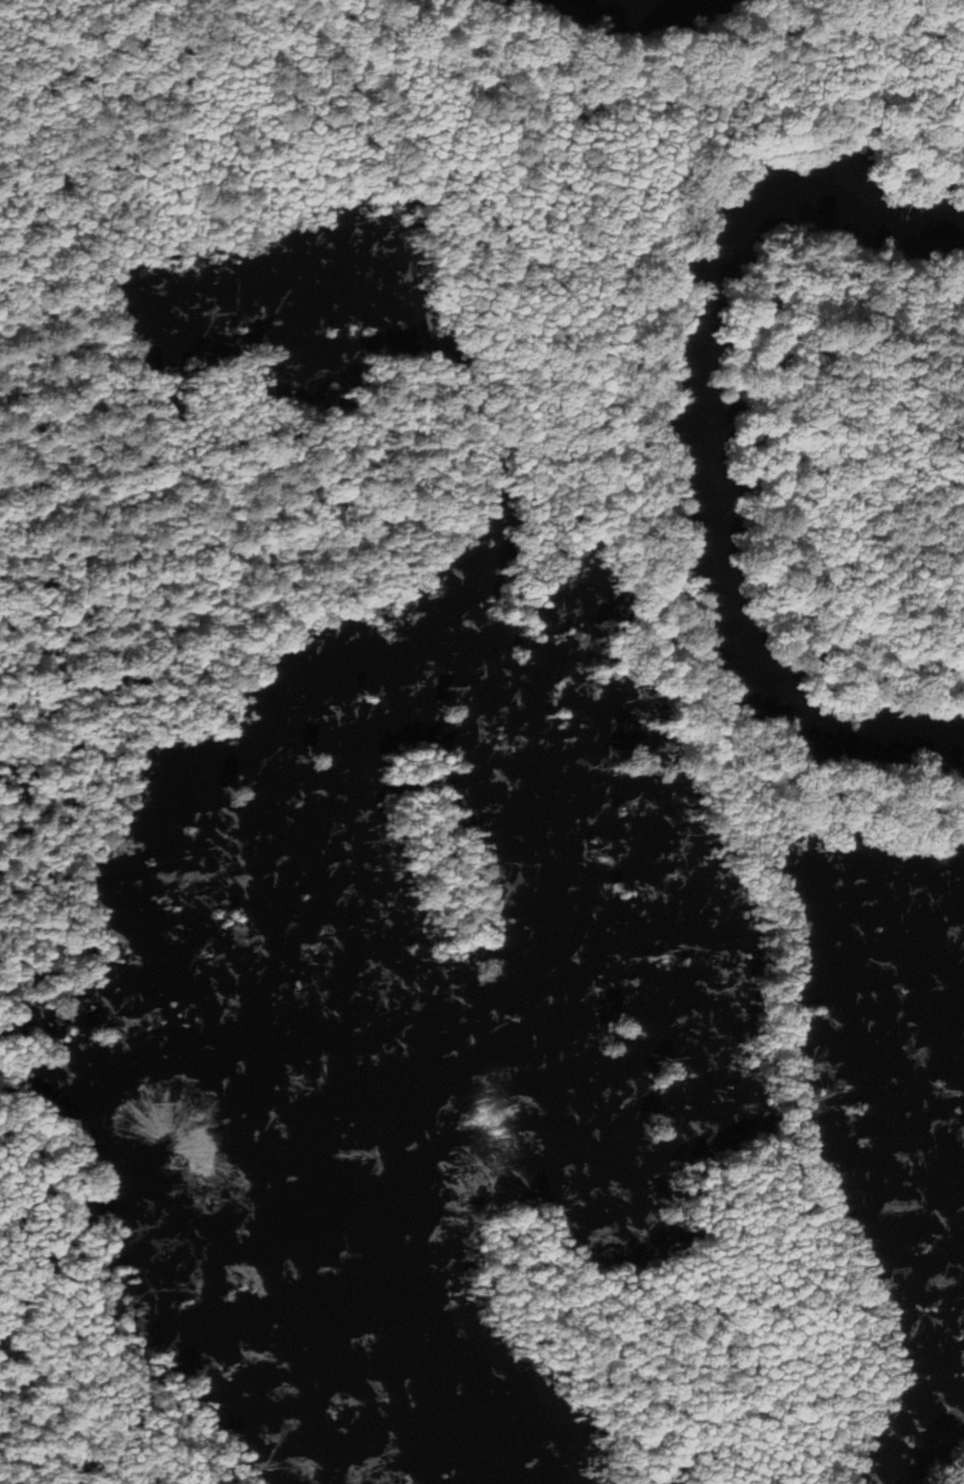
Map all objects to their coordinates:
river: (706, 431)

